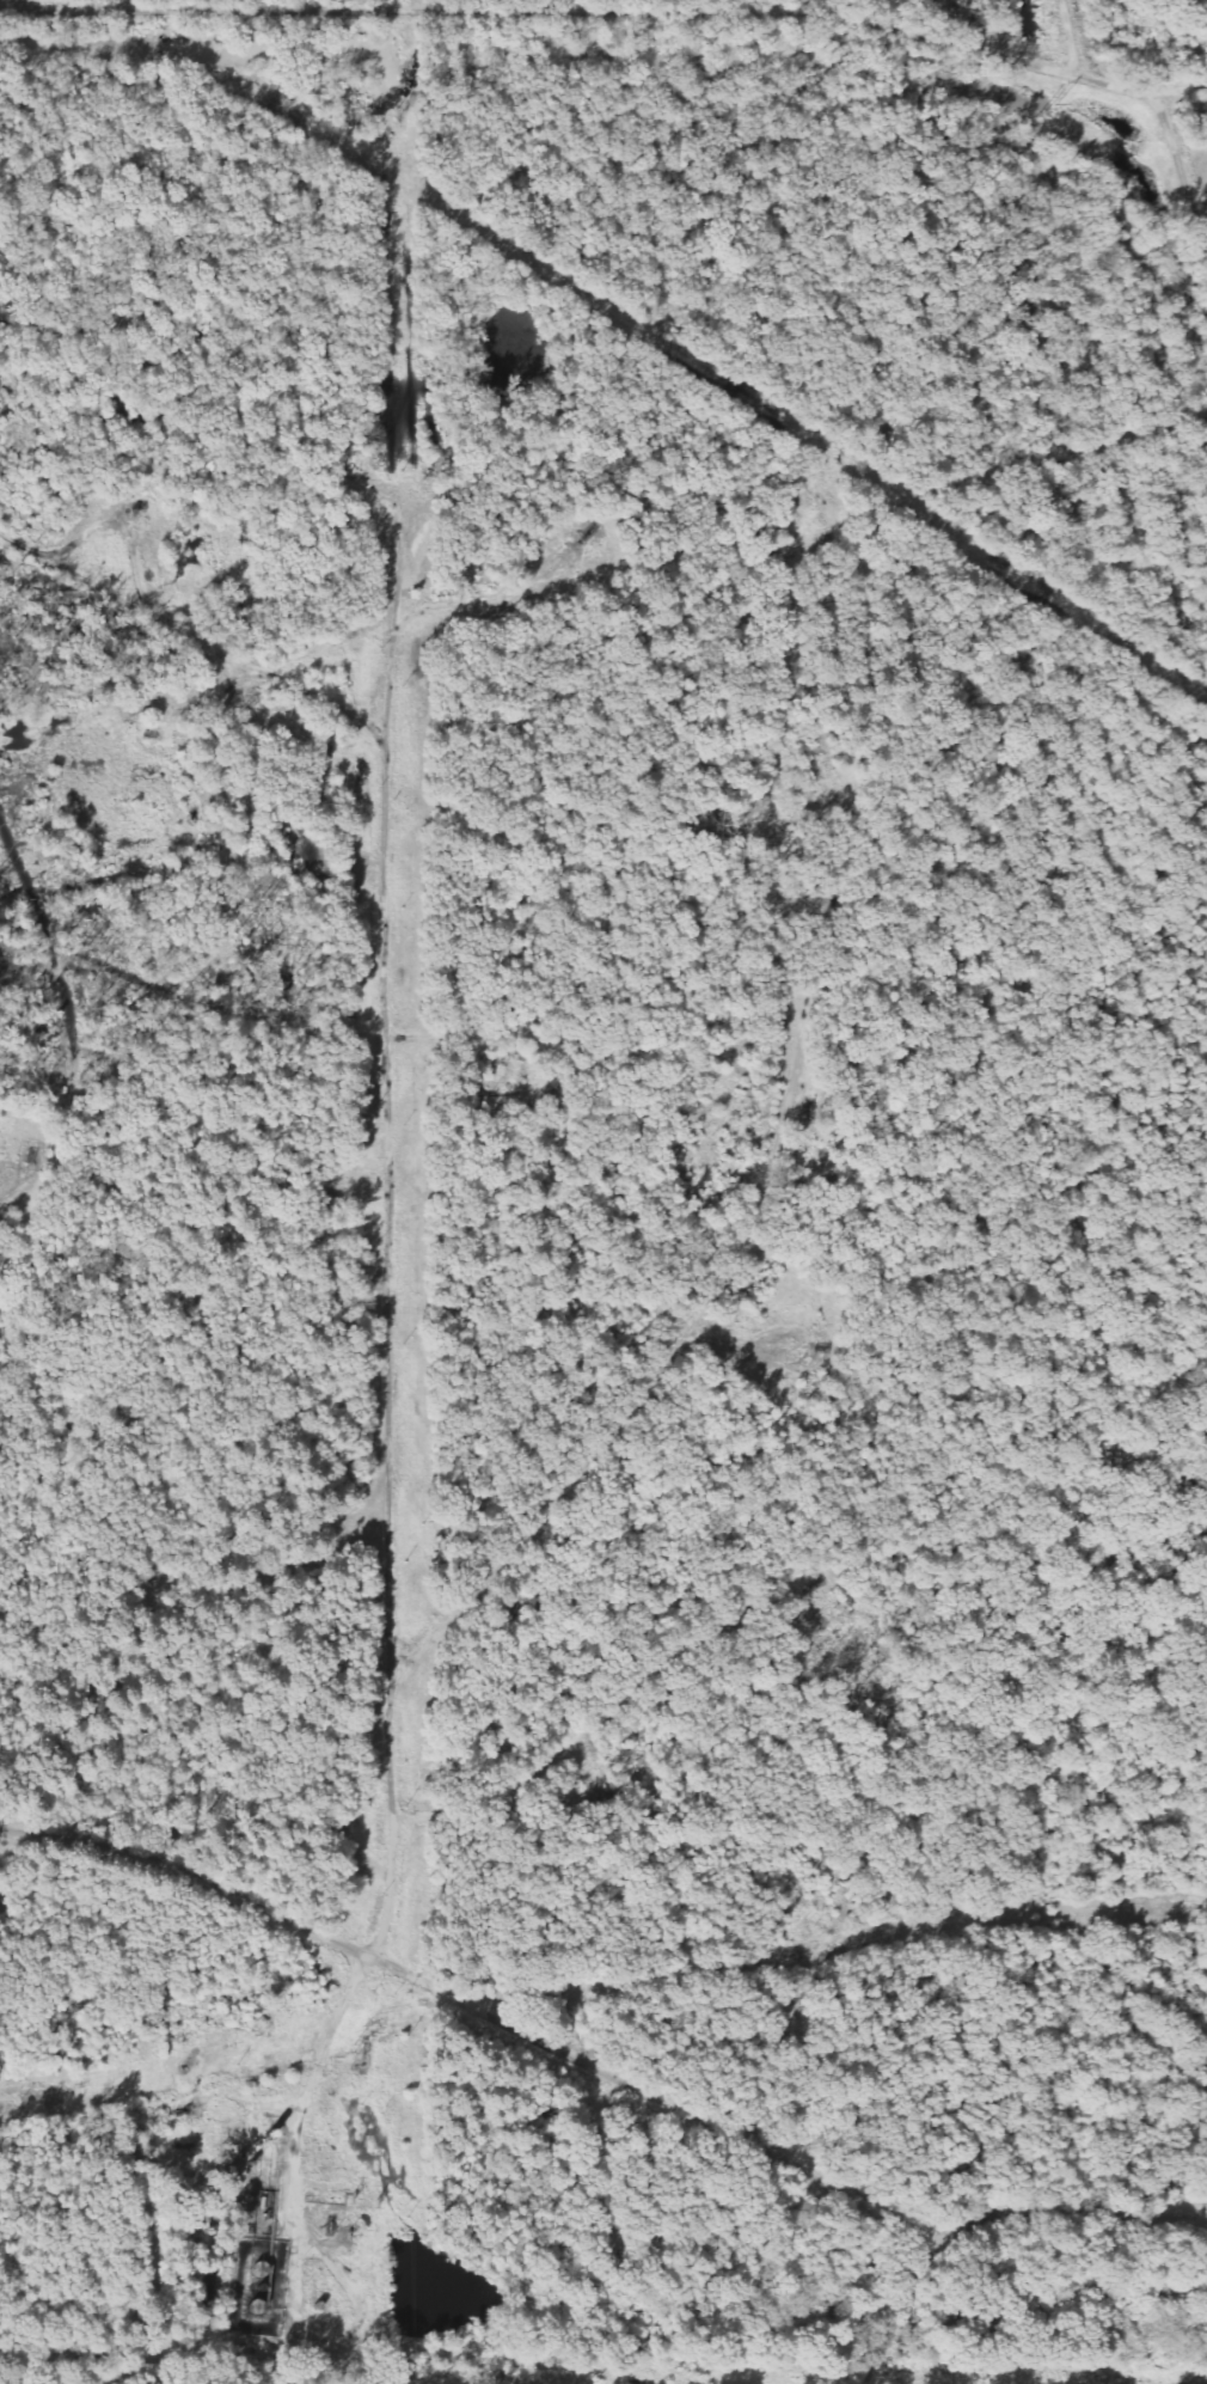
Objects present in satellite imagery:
power tower: (1055, 106)

